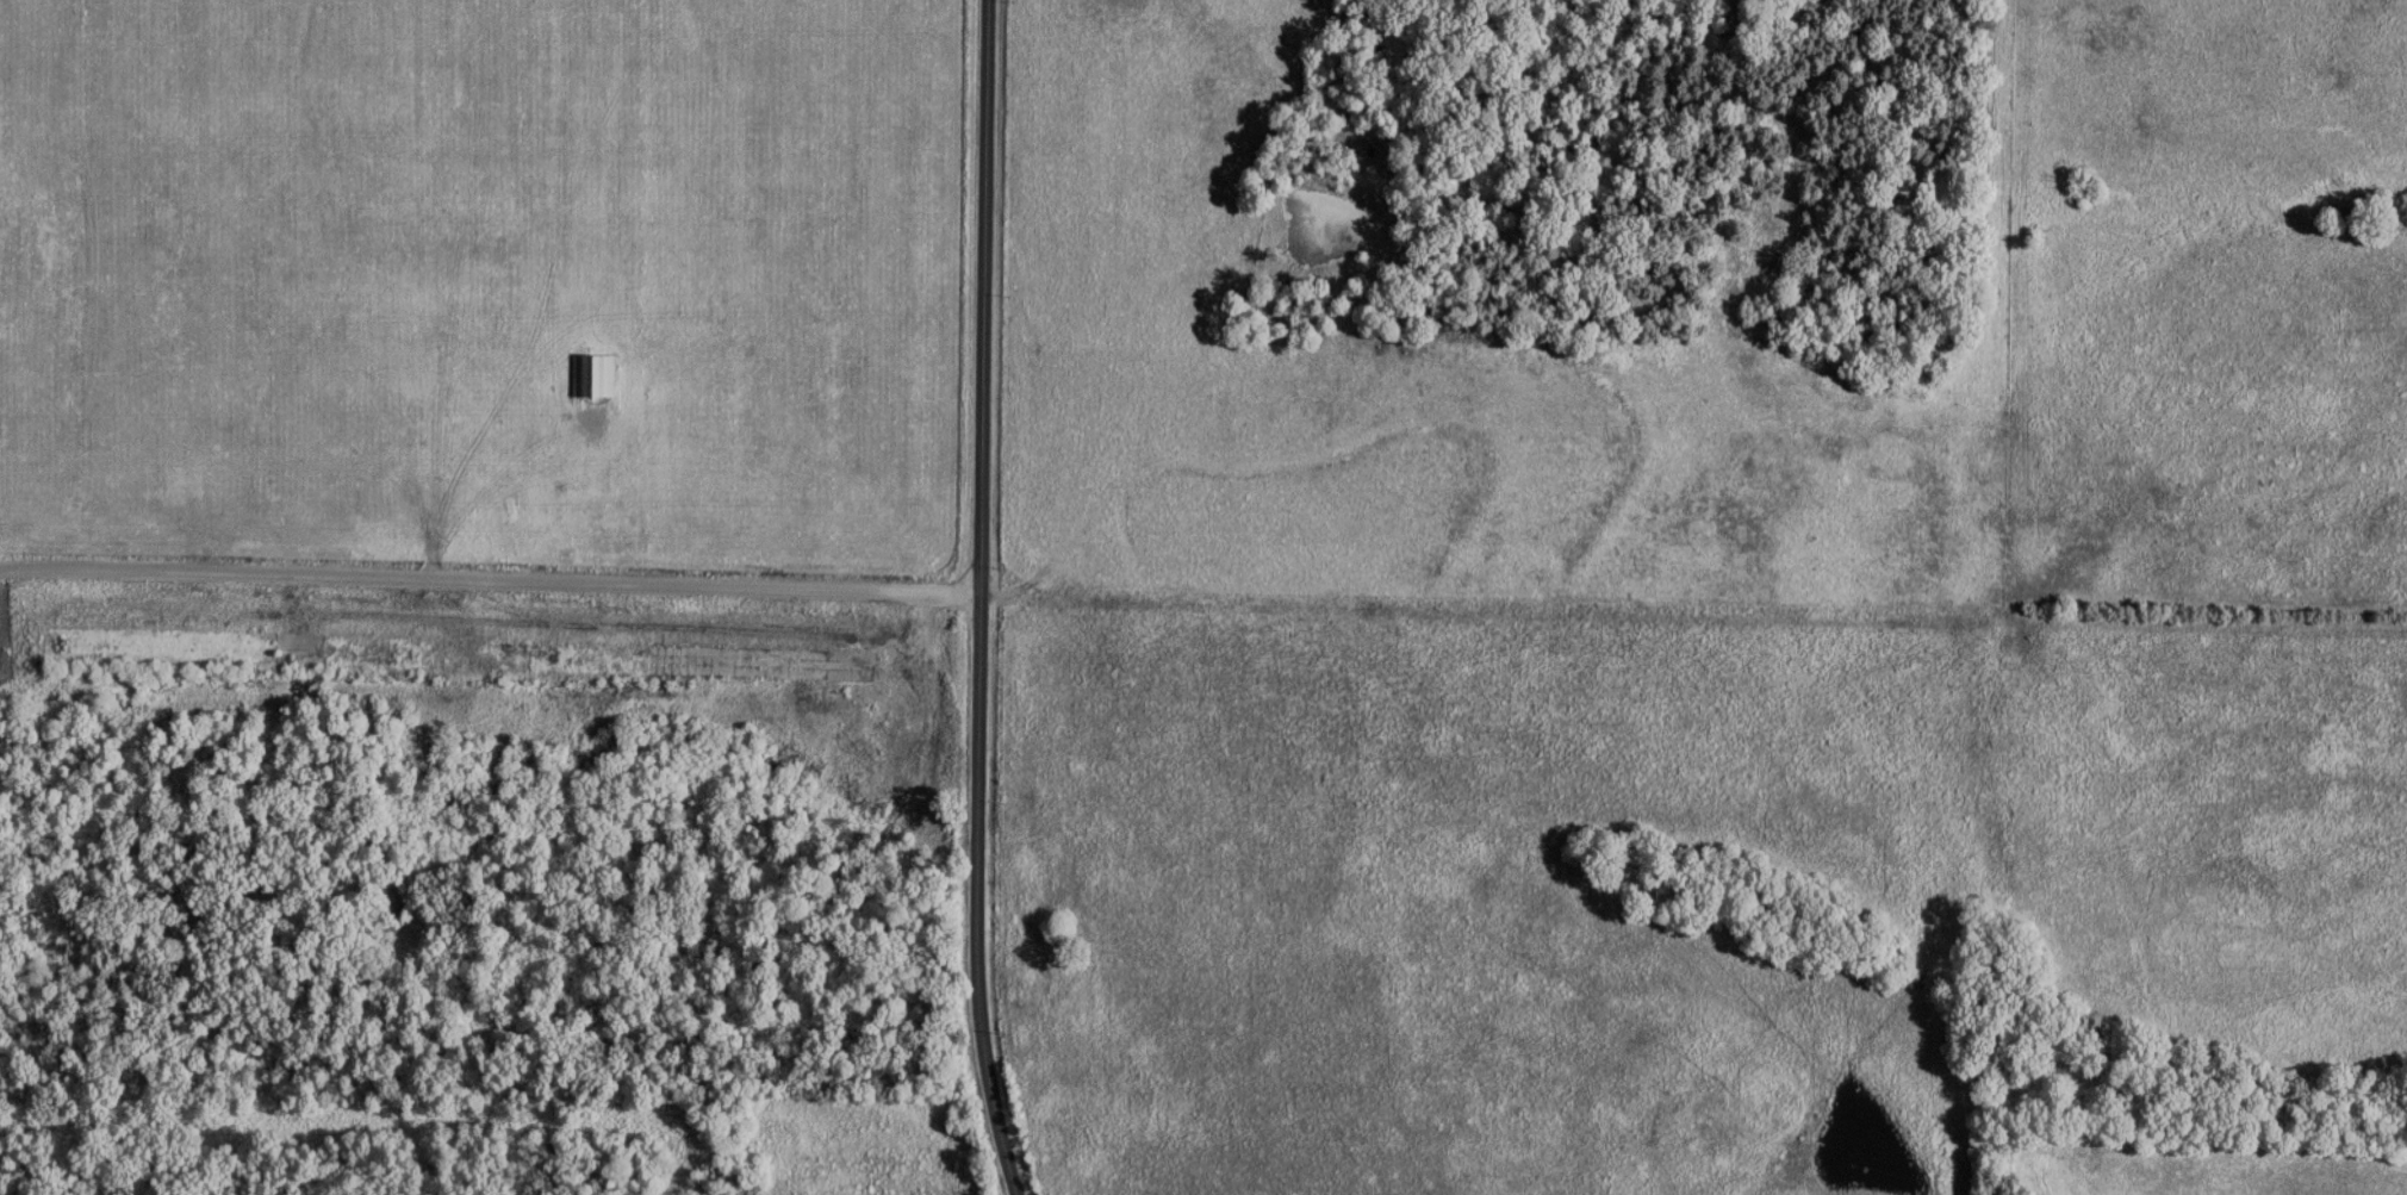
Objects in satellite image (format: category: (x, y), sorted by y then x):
building: (596, 374)
road: (487, 583)
road: (975, 599)
building: (440, 652)

